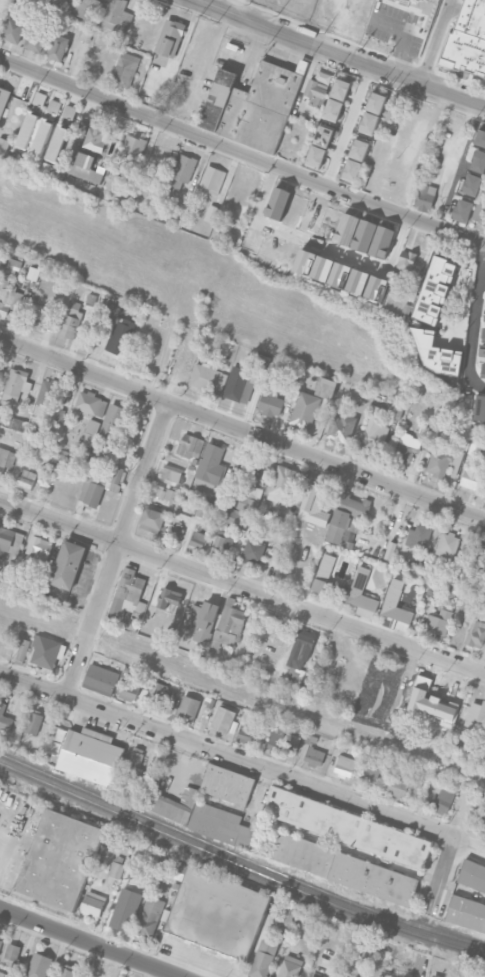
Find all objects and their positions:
building: (86, 8)
building: (297, 8)
building: (114, 13)
building: (13, 30)
building: (85, 34)
building: (36, 36)
building: (170, 38)
building: (470, 39)
road: (434, 41)
building: (59, 46)
road: (343, 55)
building: (125, 69)
building: (314, 89)
building: (340, 89)
building: (3, 99)
building: (376, 102)
building: (253, 105)
building: (53, 110)
building: (333, 110)
building: (31, 120)
building: (369, 122)
road: (347, 125)
building: (81, 129)
building: (323, 136)
building: (480, 137)
building: (41, 138)
building: (95, 139)
road: (458, 141)
building: (57, 143)
building: (4, 145)
building: (133, 146)
building: (359, 150)
road: (241, 154)
building: (316, 156)
building: (479, 161)
road: (461, 166)
building: (184, 167)
building: (86, 168)
building: (352, 169)
building: (212, 177)
building: (114, 181)
building: (176, 185)
building: (472, 185)
building: (426, 197)
building: (463, 210)
building: (479, 211)
building: (211, 213)
building: (364, 235)
building: (381, 241)
road: (322, 246)
building: (406, 260)
building: (14, 264)
building: (32, 273)
building: (358, 281)
building: (375, 287)
building: (435, 290)
building: (10, 298)
building: (38, 315)
building: (484, 319)
building: (71, 320)
road: (474, 320)
building: (117, 331)
building: (484, 333)
building: (482, 350)
building: (437, 353)
building: (483, 369)
building: (206, 377)
building: (16, 384)
building: (238, 385)
building: (326, 387)
building: (48, 392)
building: (63, 394)
building: (270, 402)
building: (91, 403)
building: (480, 408)
building: (305, 410)
building: (112, 421)
building: (17, 424)
building: (375, 426)
building: (341, 427)
road: (242, 430)
building: (90, 432)
building: (190, 446)
building: (407, 447)
building: (68, 457)
building: (6, 459)
building: (443, 459)
building: (211, 464)
building: (244, 470)
building: (171, 473)
building: (100, 477)
building: (474, 477)
building: (25, 479)
building: (284, 481)
building: (163, 492)
building: (250, 500)
building: (347, 515)
building: (152, 520)
building: (177, 532)
building: (418, 536)
building: (347, 539)
building: (10, 540)
building: (198, 540)
building: (447, 545)
building: (222, 546)
building: (254, 549)
road: (118, 550)
building: (38, 552)
building: (478, 557)
building: (68, 565)
building: (326, 577)
road: (242, 585)
building: (481, 588)
building: (361, 591)
building: (128, 598)
building: (169, 600)
building: (396, 603)
park: (37, 622)
building: (439, 622)
building: (229, 623)
building: (476, 634)
building: (21, 648)
building: (47, 651)
building: (299, 655)
building: (100, 679)
building: (128, 689)
building: (162, 698)
building: (188, 707)
building: (476, 718)
building: (4, 719)
building: (224, 720)
building: (33, 721)
building: (246, 734)
building: (282, 741)
building: (54, 742)
road: (226, 754)
building: (90, 756)
building: (314, 756)
building: (135, 761)
building: (345, 766)
building: (370, 775)
building: (227, 784)
building: (398, 786)
building: (444, 799)
building: (201, 817)
building: (482, 819)
building: (346, 827)
railway: (239, 856)
building: (60, 859)
railway: (239, 865)
building: (344, 868)
building: (116, 869)
road: (440, 875)
building: (472, 877)
building: (160, 882)
building: (92, 905)
building: (125, 910)
building: (217, 912)
building: (466, 914)
building: (150, 916)
building: (287, 917)
building: (0, 942)
road: (91, 942)
building: (12, 954)
building: (263, 958)
building: (39, 965)
road: (419, 965)
building: (290, 966)
building: (66, 972)
building: (4, 974)
building: (341, 974)
building: (314, 976)
building: (435, 976)

